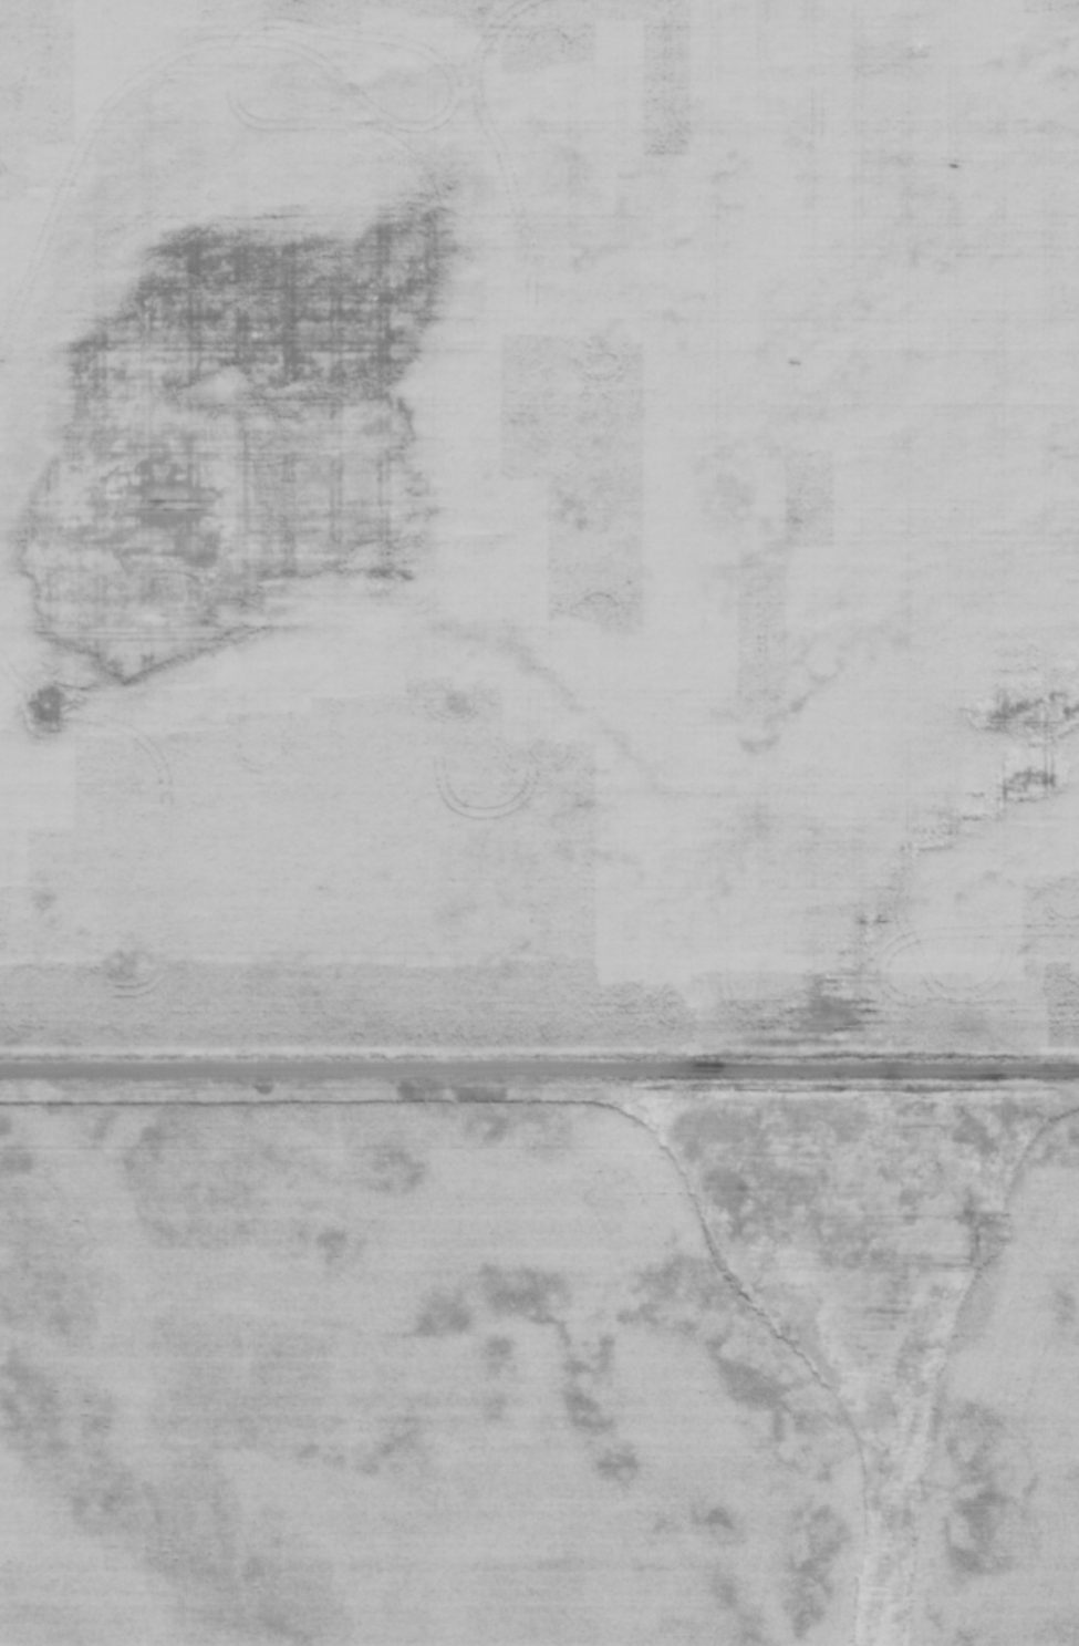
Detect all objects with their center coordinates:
road: (539, 1068)

